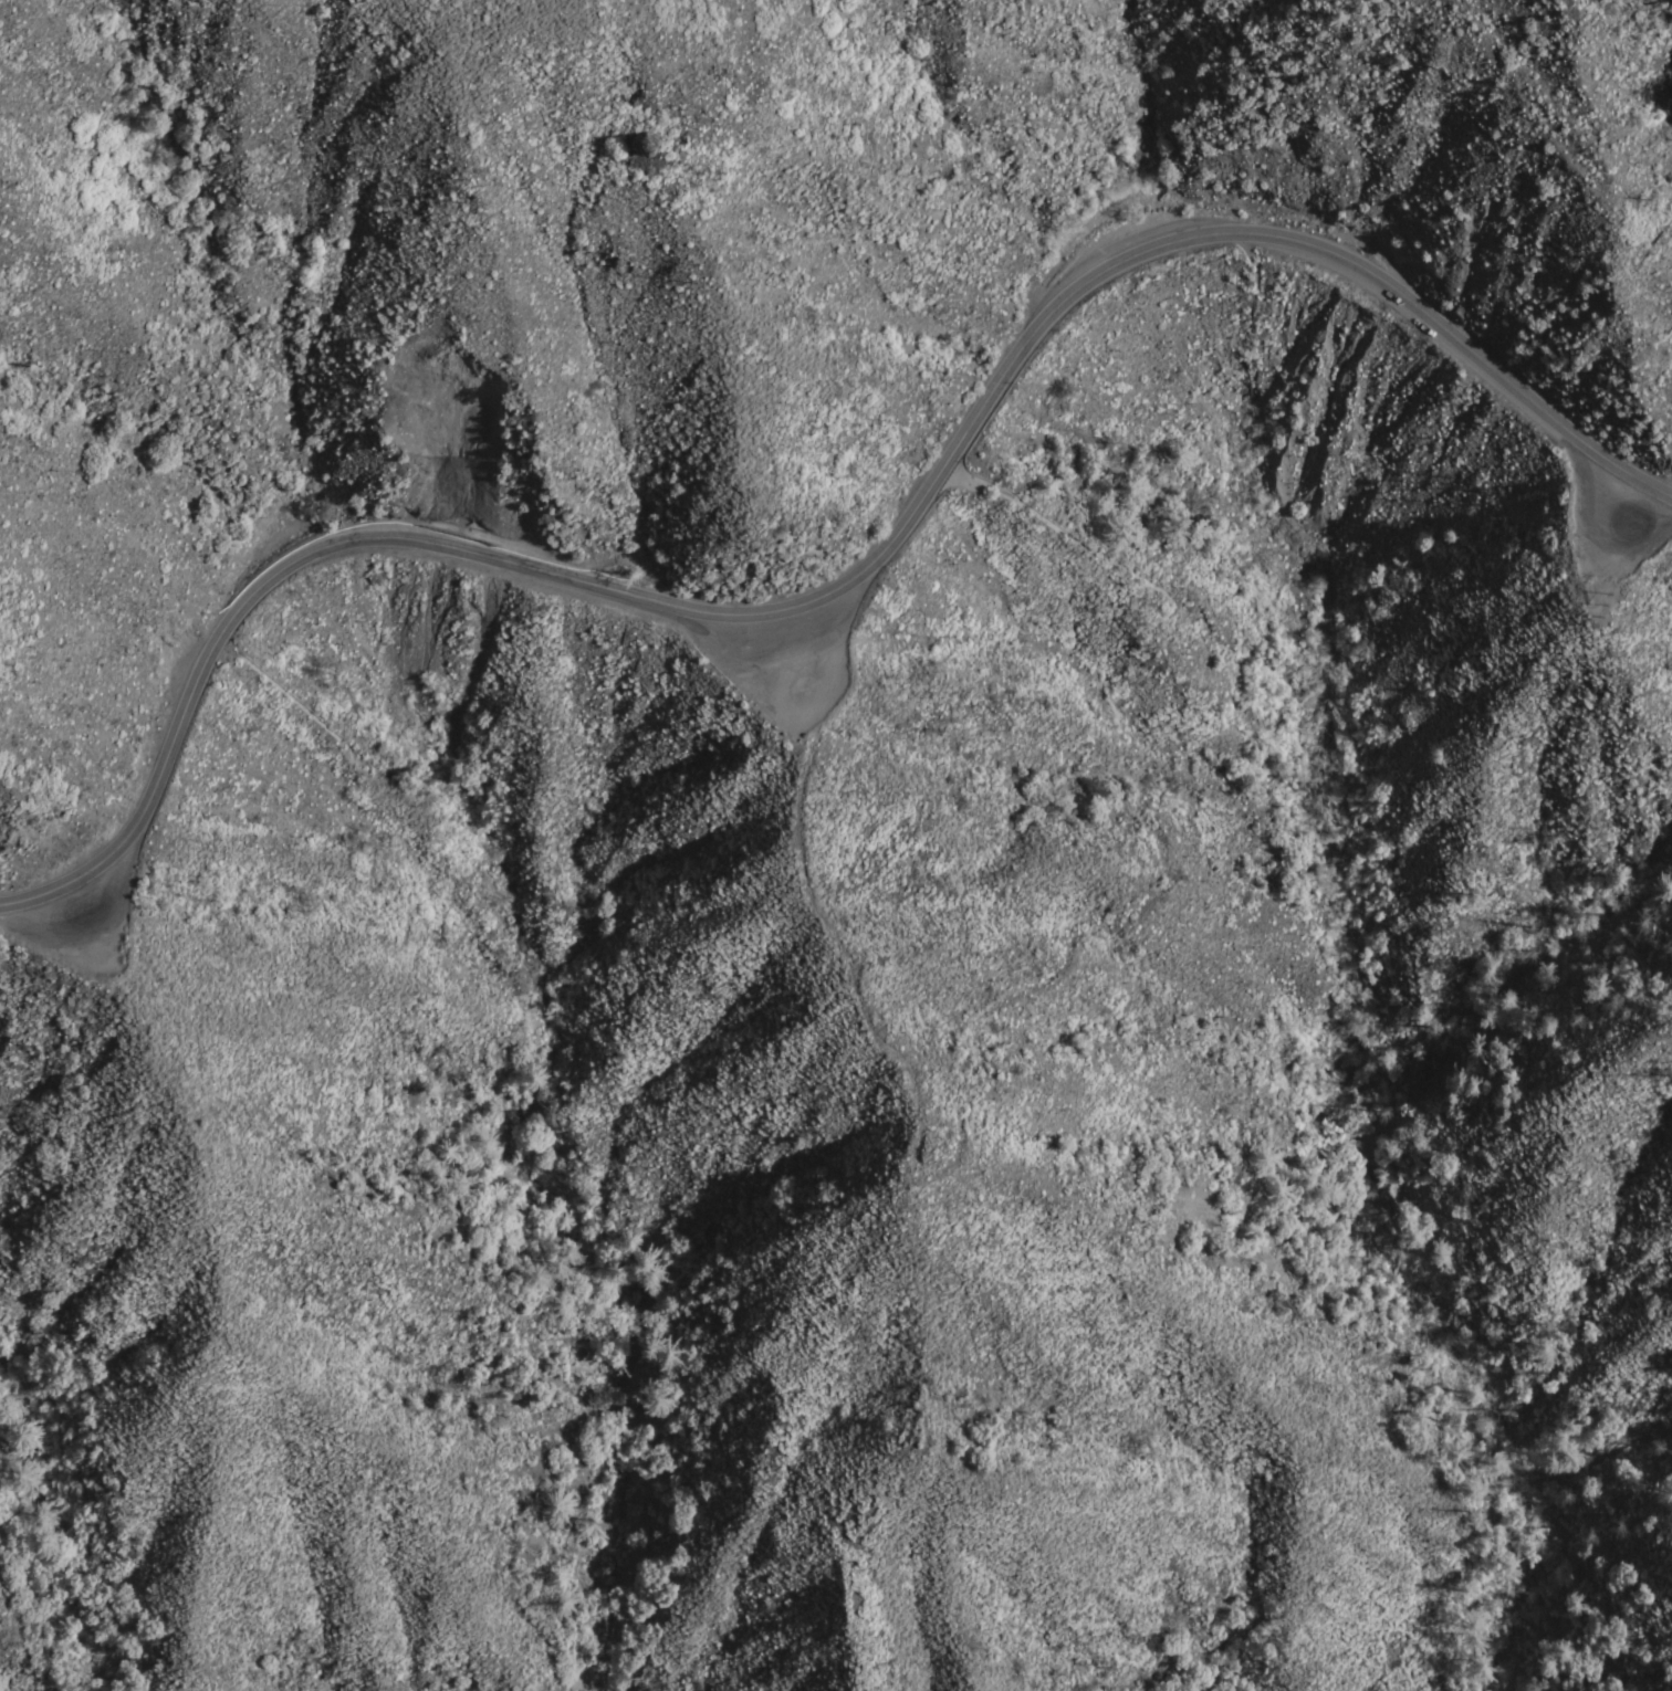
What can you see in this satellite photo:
parking lot: (1612, 516)
road: (854, 588)
parking lot: (780, 661)
parking lot: (82, 924)

